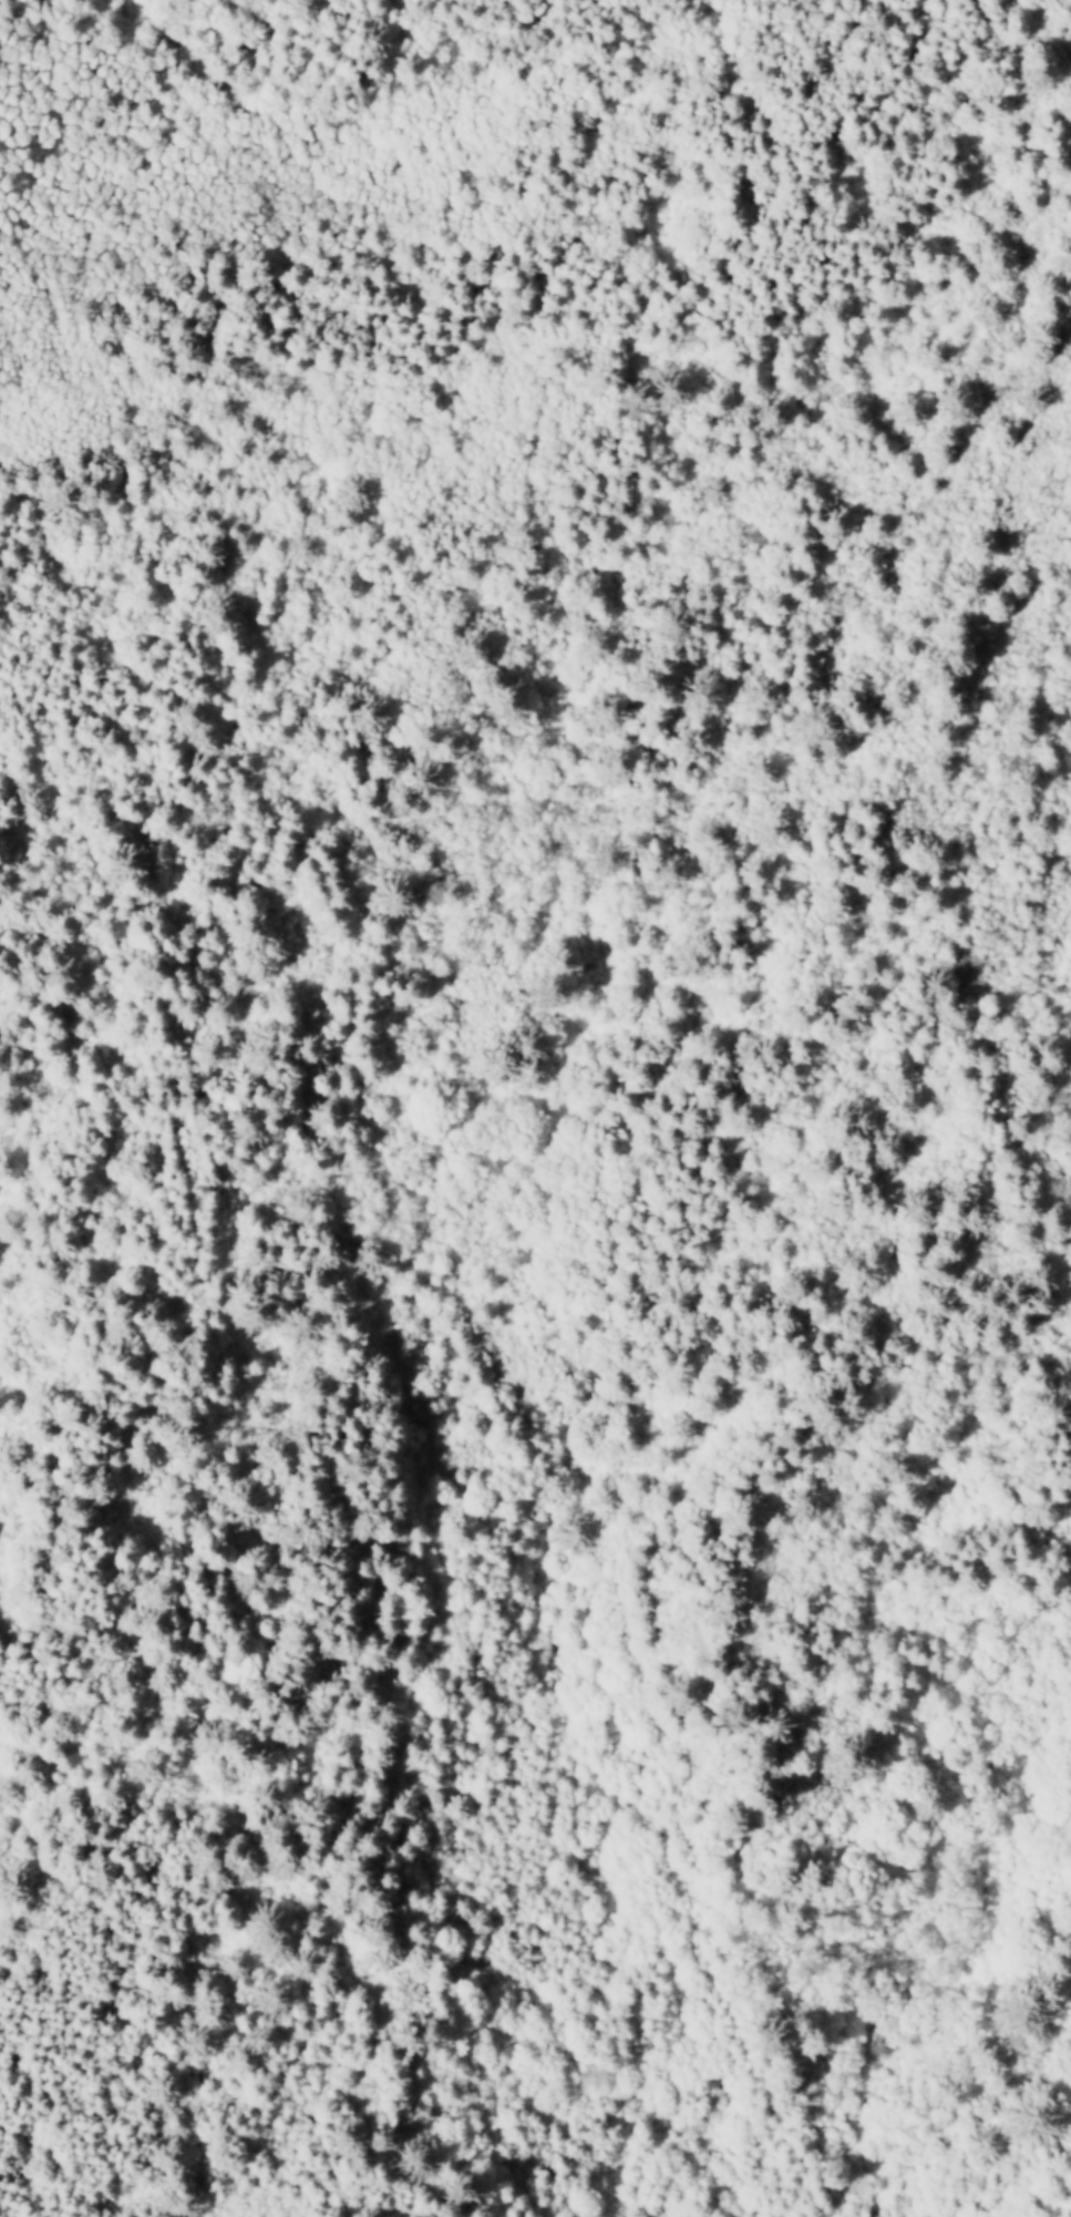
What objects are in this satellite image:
road: (441, 319)

